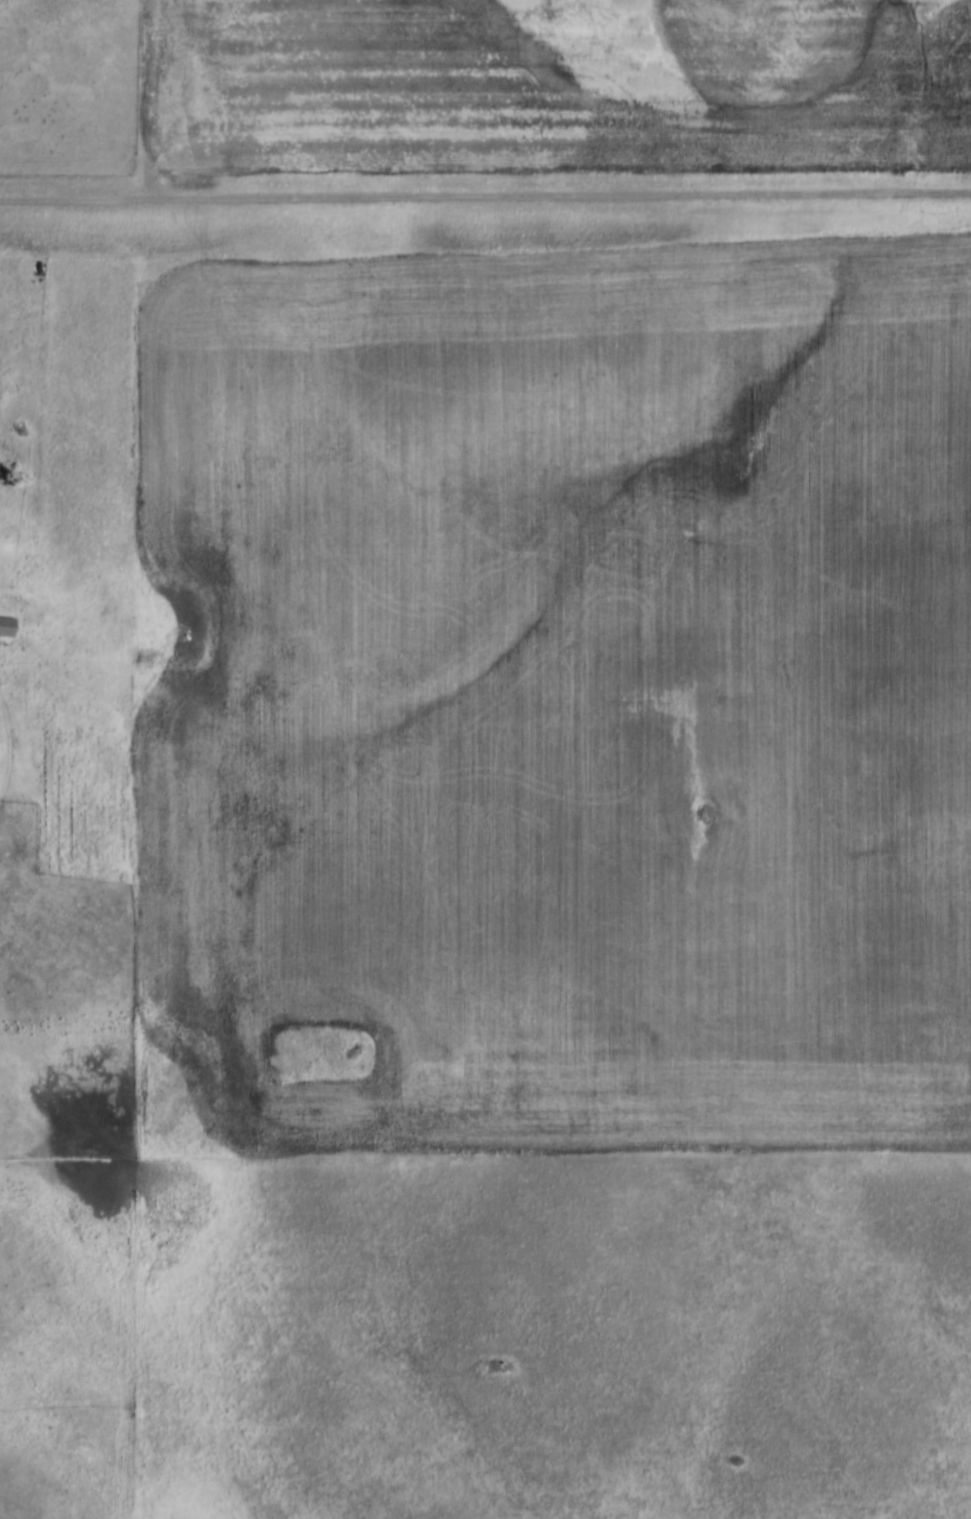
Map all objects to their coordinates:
road: (485, 199)
building: (7, 627)

